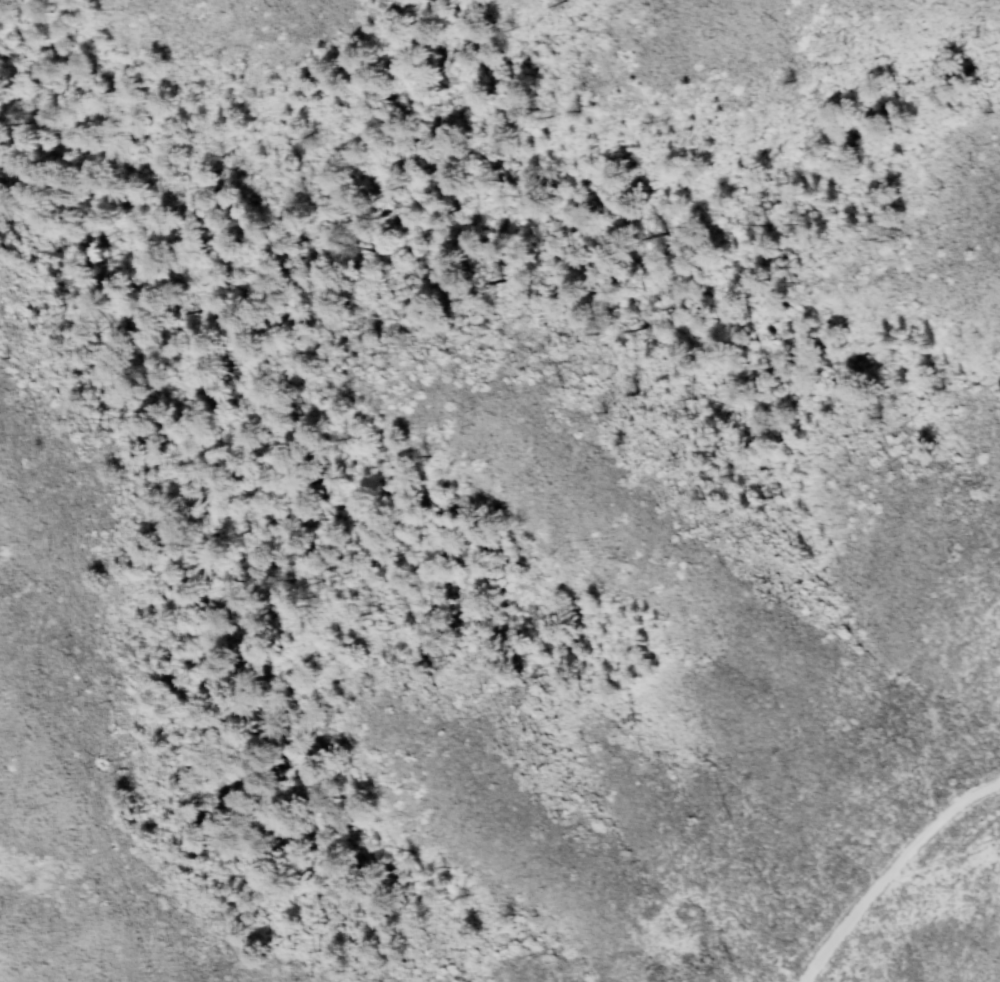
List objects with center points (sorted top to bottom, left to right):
road: (936, 863)
road: (889, 871)

